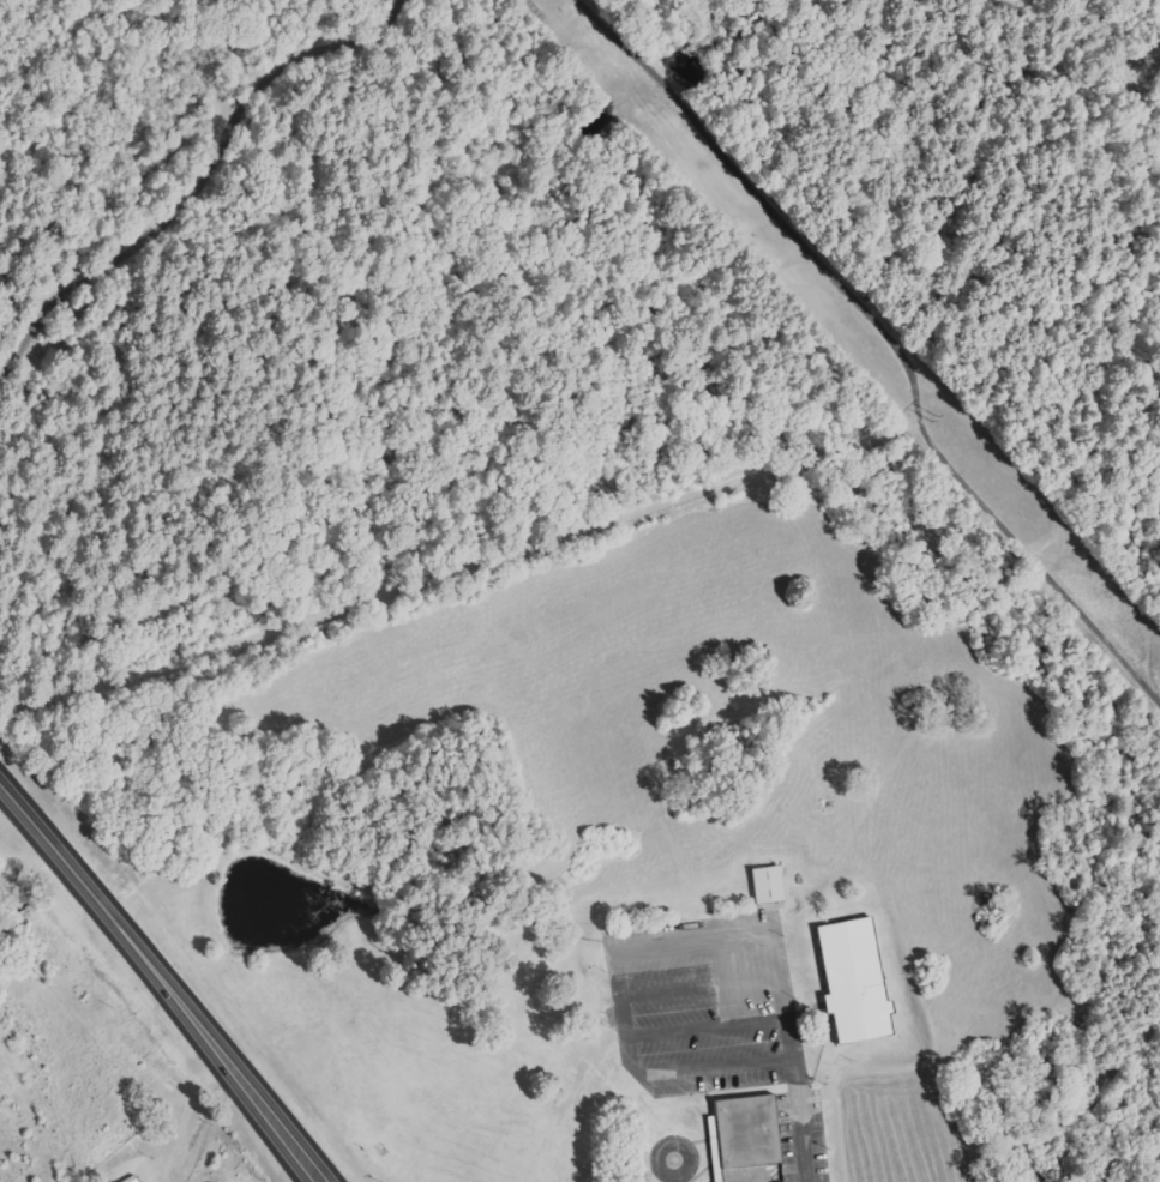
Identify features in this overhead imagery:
building: (771, 884)
road: (54, 946)
road: (162, 981)
building: (859, 981)
road: (795, 1110)
building: (749, 1140)
road: (675, 1174)

